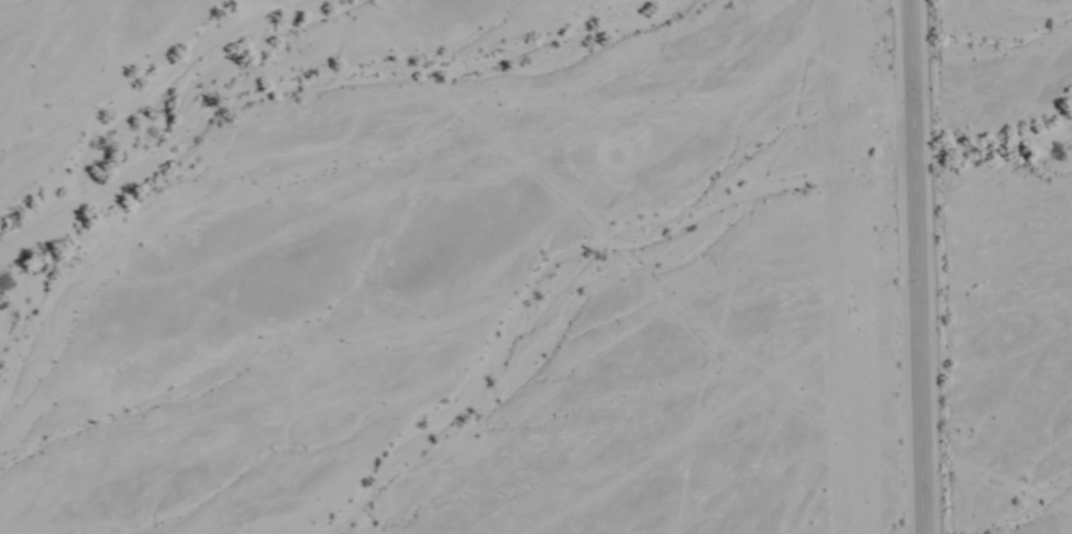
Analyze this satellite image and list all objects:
road: (917, 267)

